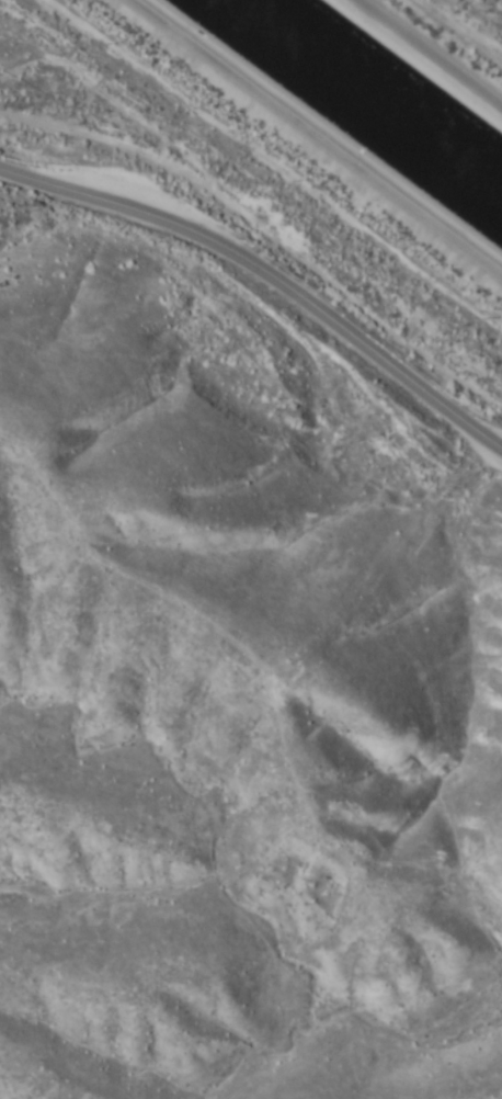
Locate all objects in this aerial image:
road: (431, 45)
road: (306, 147)
road: (267, 276)

